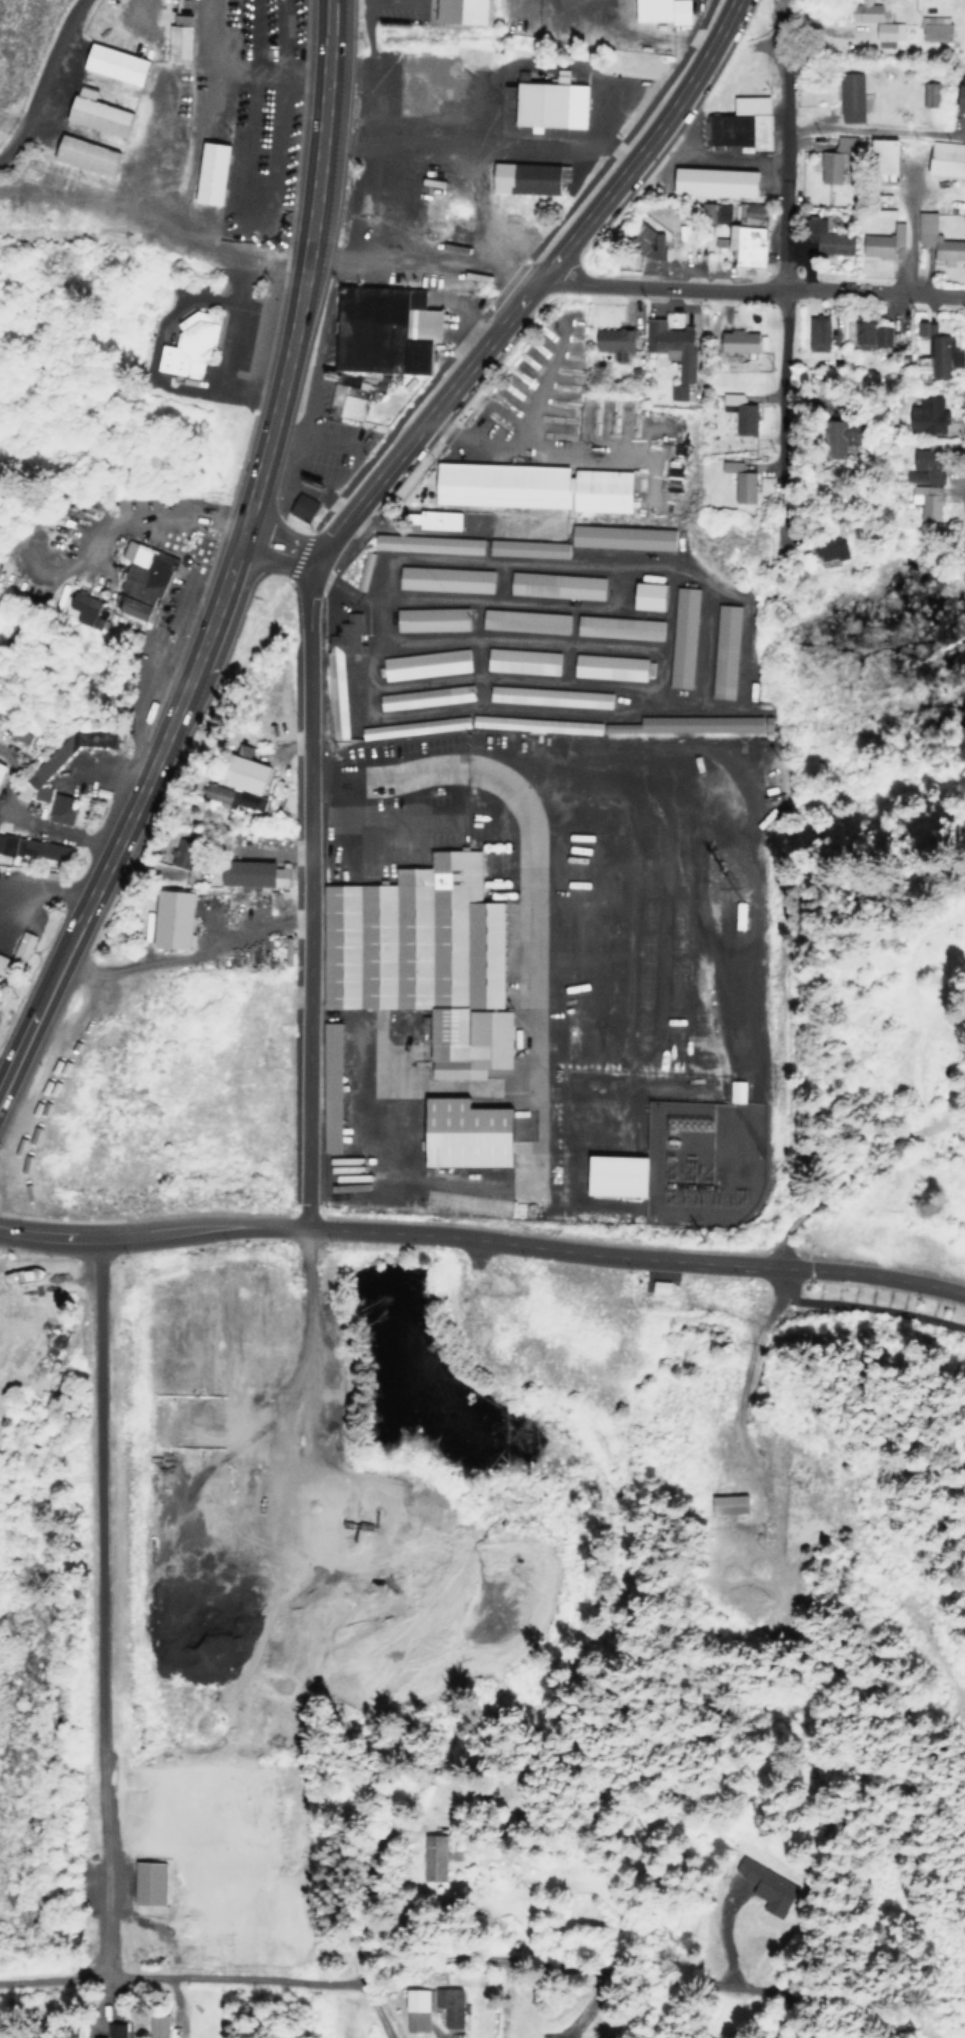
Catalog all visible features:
road: (408, 0)
road: (133, 9)
building: (456, 11)
building: (658, 11)
building: (873, 22)
building: (931, 28)
building: (180, 37)
road: (204, 48)
building: (108, 63)
road: (43, 78)
building: (926, 94)
building: (958, 94)
building: (847, 97)
road: (196, 103)
building: (545, 103)
building: (92, 115)
building: (738, 124)
road: (869, 131)
road: (480, 134)
road: (712, 153)
building: (81, 155)
building: (877, 158)
building: (944, 158)
building: (833, 159)
building: (209, 173)
building: (528, 177)
building: (711, 181)
road: (216, 216)
road: (254, 220)
road: (906, 226)
building: (736, 230)
building: (821, 236)
building: (935, 240)
building: (642, 241)
building: (878, 242)
road: (148, 251)
traffic signals: (297, 263)
road: (419, 269)
road: (783, 269)
road: (752, 285)
road: (530, 288)
road: (229, 309)
building: (379, 330)
building: (814, 333)
building: (855, 334)
building: (877, 335)
building: (734, 341)
building: (614, 342)
building: (188, 345)
building: (667, 352)
building: (933, 353)
road: (541, 380)
road: (175, 385)
building: (346, 403)
building: (923, 416)
building: (826, 437)
road: (534, 447)
building: (921, 466)
building: (734, 481)
building: (535, 485)
road: (964, 495)
road: (314, 496)
building: (921, 502)
building: (299, 508)
road: (137, 513)
building: (433, 519)
building: (618, 537)
building: (424, 544)
parking lot: (175, 545)
building: (521, 548)
road: (221, 563)
road: (50, 570)
building: (360, 571)
building: (137, 579)
building: (441, 579)
road: (496, 581)
building: (553, 585)
building: (645, 595)
road: (472, 600)
building: (80, 608)
building: (427, 620)
building: (520, 621)
building: (616, 627)
building: (679, 637)
road: (700, 644)
building: (722, 651)
road: (473, 654)
building: (519, 661)
building: (422, 664)
road: (561, 664)
building: (606, 667)
building: (339, 672)
road: (653, 673)
building: (547, 696)
building: (422, 697)
road: (638, 698)
road: (735, 700)
building: (532, 724)
building: (686, 724)
building: (411, 727)
building: (16, 733)
building: (237, 751)
building: (64, 754)
road: (103, 770)
building: (238, 775)
building: (230, 799)
building: (58, 809)
road: (401, 823)
road: (55, 830)
building: (34, 848)
building: (247, 875)
road: (530, 882)
road: (44, 888)
road: (305, 891)
road: (23, 898)
building: (167, 920)
road: (660, 920)
road: (627, 922)
road: (689, 943)
building: (19, 947)
road: (184, 953)
building: (418, 958)
building: (1, 959)
road: (4, 1072)
building: (328, 1088)
building: (736, 1091)
building: (461, 1135)
power substation: (701, 1161)
building: (607, 1175)
road: (437, 1181)
road: (826, 1199)
road: (483, 1237)
power tower: (704, 1239)
building: (660, 1286)
road: (873, 1310)
building: (724, 1504)
road: (92, 1605)
building: (435, 1857)
building: (149, 1882)
road: (162, 1979)
building: (415, 2000)
road: (912, 2001)
building: (447, 2006)
building: (157, 2024)
building: (108, 2031)

